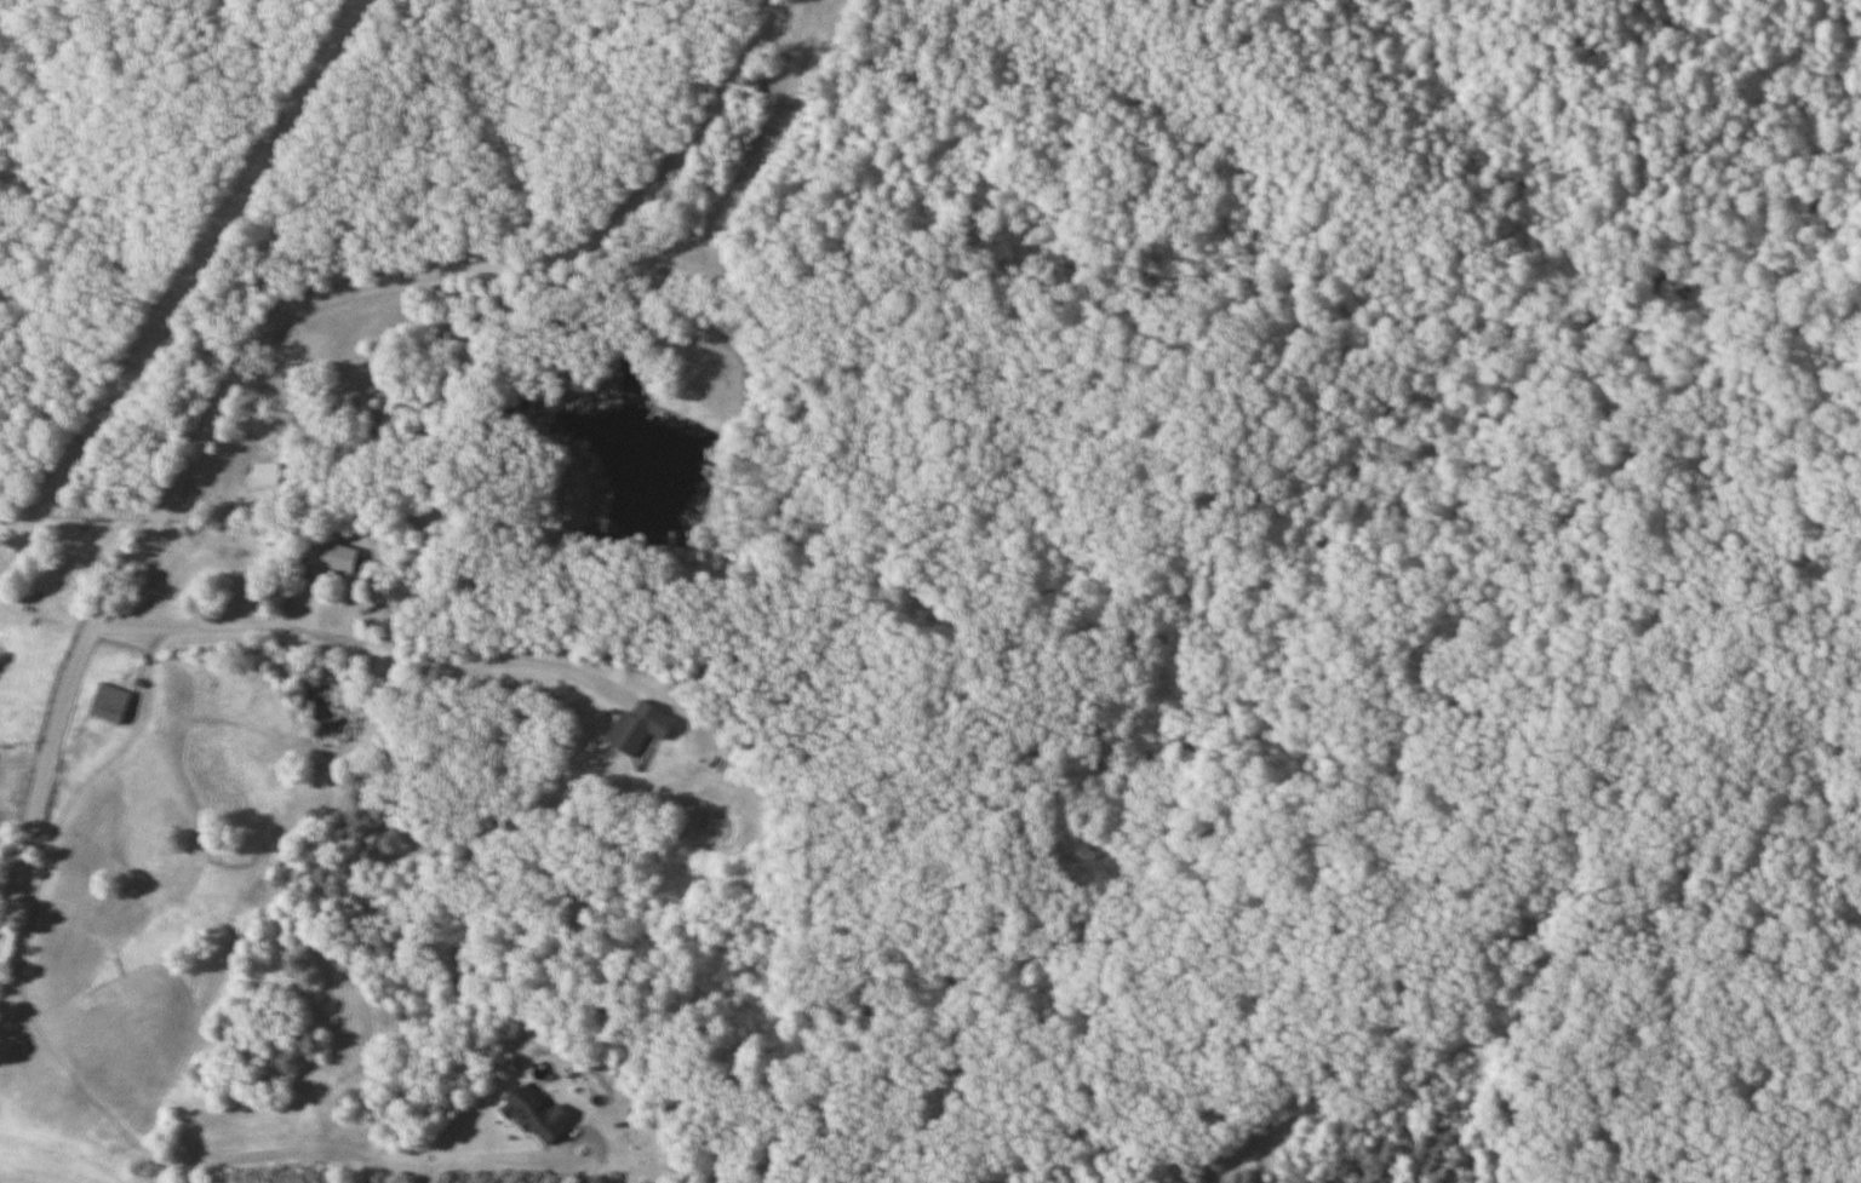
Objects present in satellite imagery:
road: (773, 4)
building: (693, 257)
road: (262, 328)
road: (246, 419)
building: (264, 475)
road: (224, 552)
road: (344, 643)
building: (109, 705)
building: (636, 729)
road: (44, 1033)
building: (533, 1115)
road: (489, 1156)

